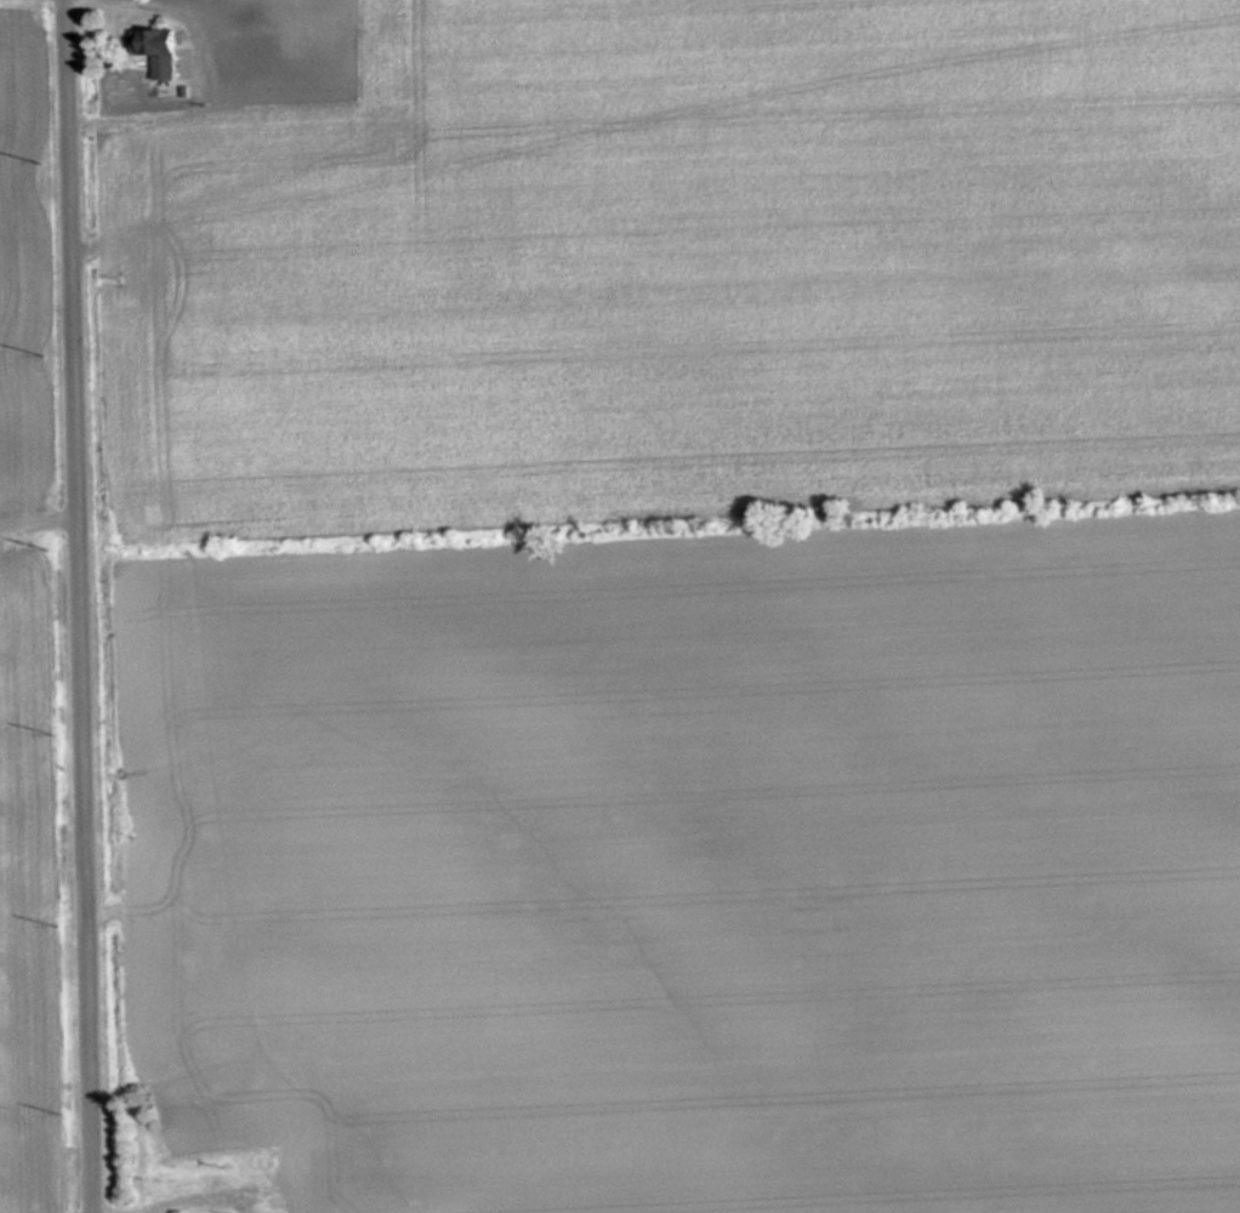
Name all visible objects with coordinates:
building: (152, 51)
road: (83, 606)

